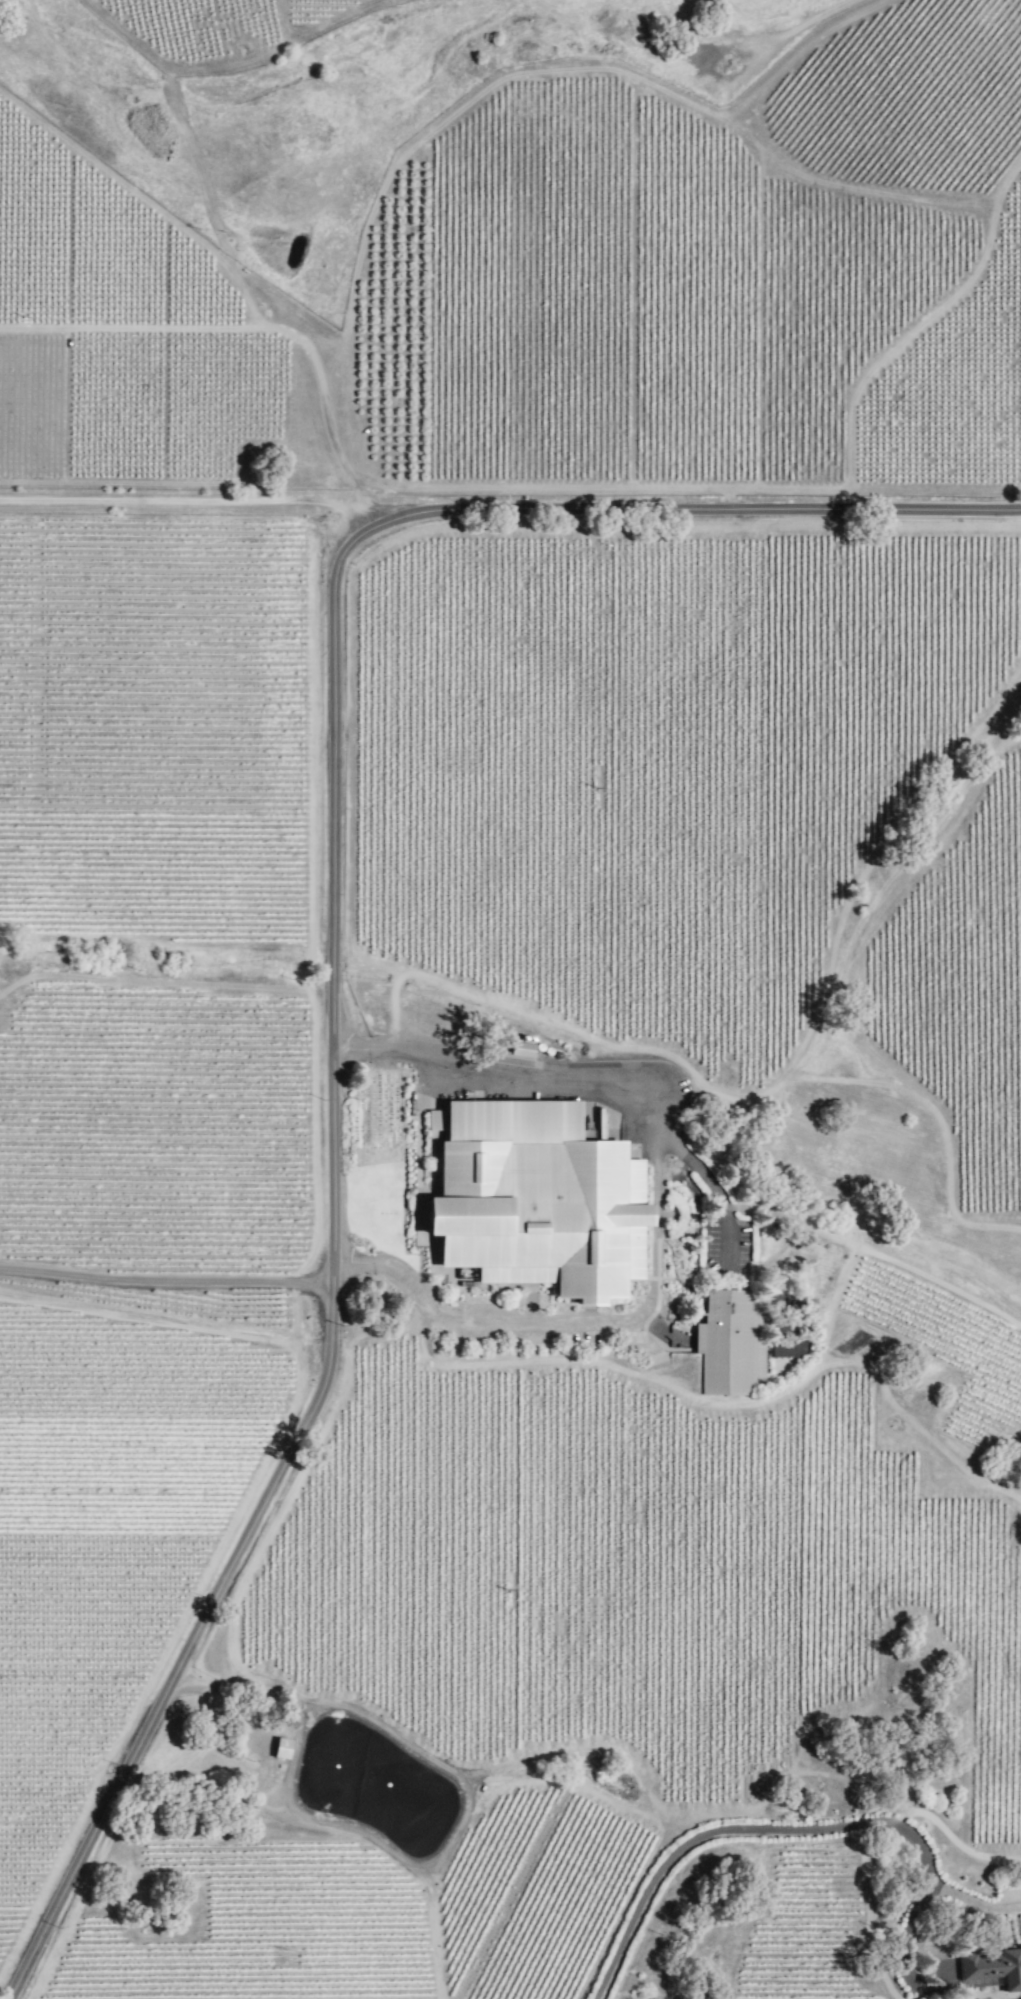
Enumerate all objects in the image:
road: (190, 500)
road: (334, 965)
building: (520, 1050)
road: (694, 1167)
building: (533, 1198)
road: (655, 1219)
building: (431, 1252)
road: (163, 1277)
building: (730, 1343)
building: (279, 1748)
road: (778, 1829)
building: (993, 1968)
building: (943, 1972)

